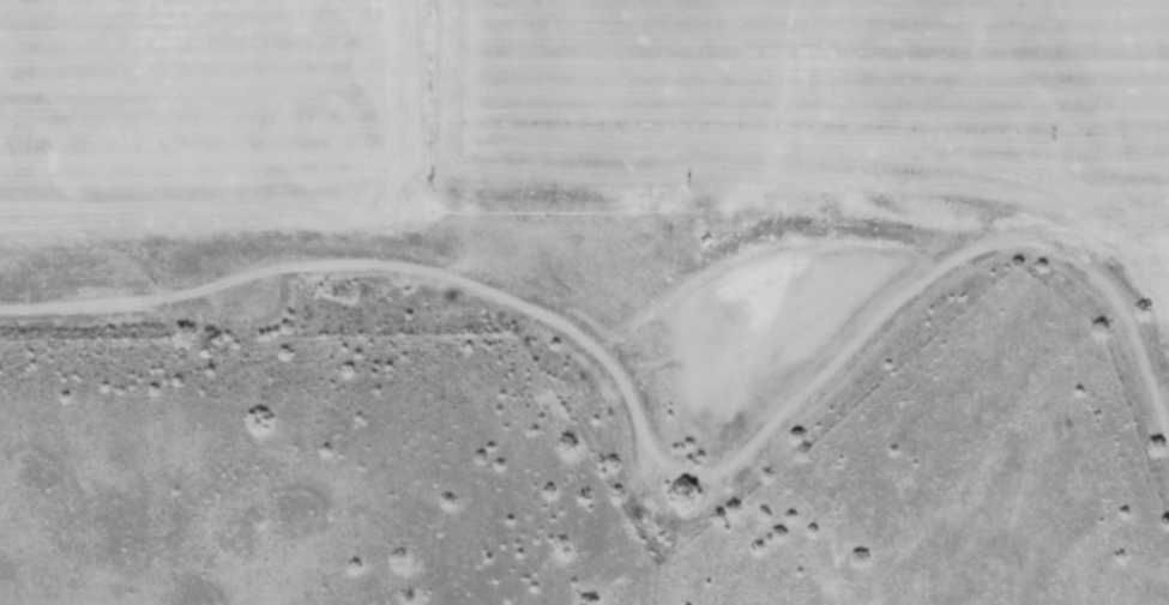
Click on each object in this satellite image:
crop: (607, 137)

